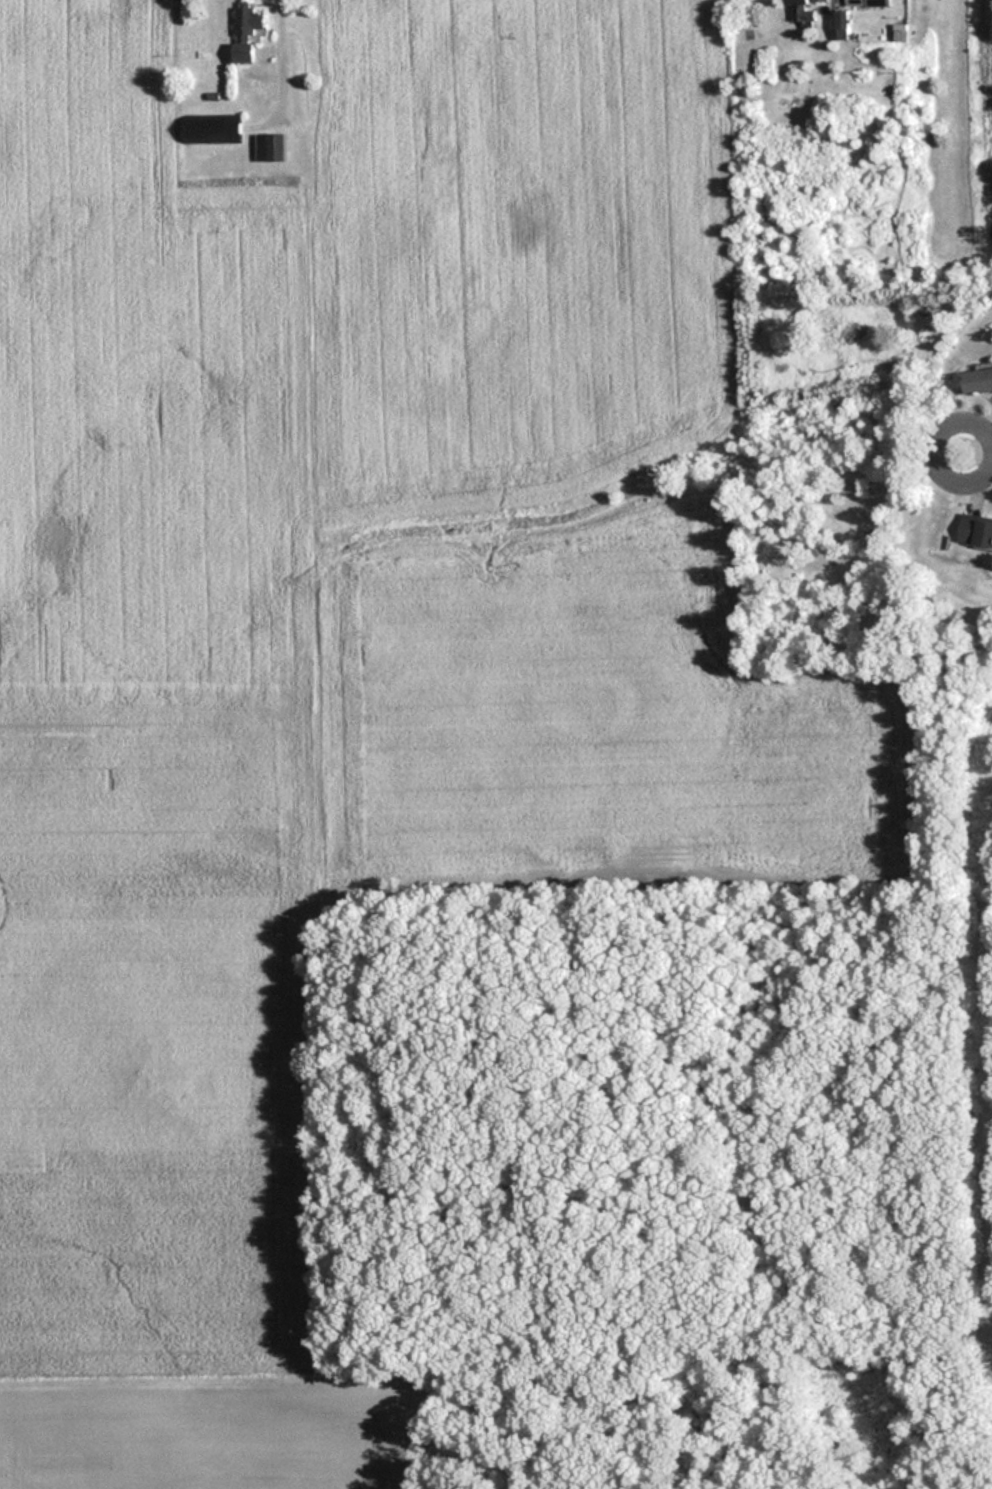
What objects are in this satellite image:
building: (819, 0)
building: (868, 2)
building: (802, 12)
road: (275, 22)
building: (246, 32)
building: (211, 130)
building: (270, 147)
building: (978, 381)
road: (963, 456)
building: (976, 531)

